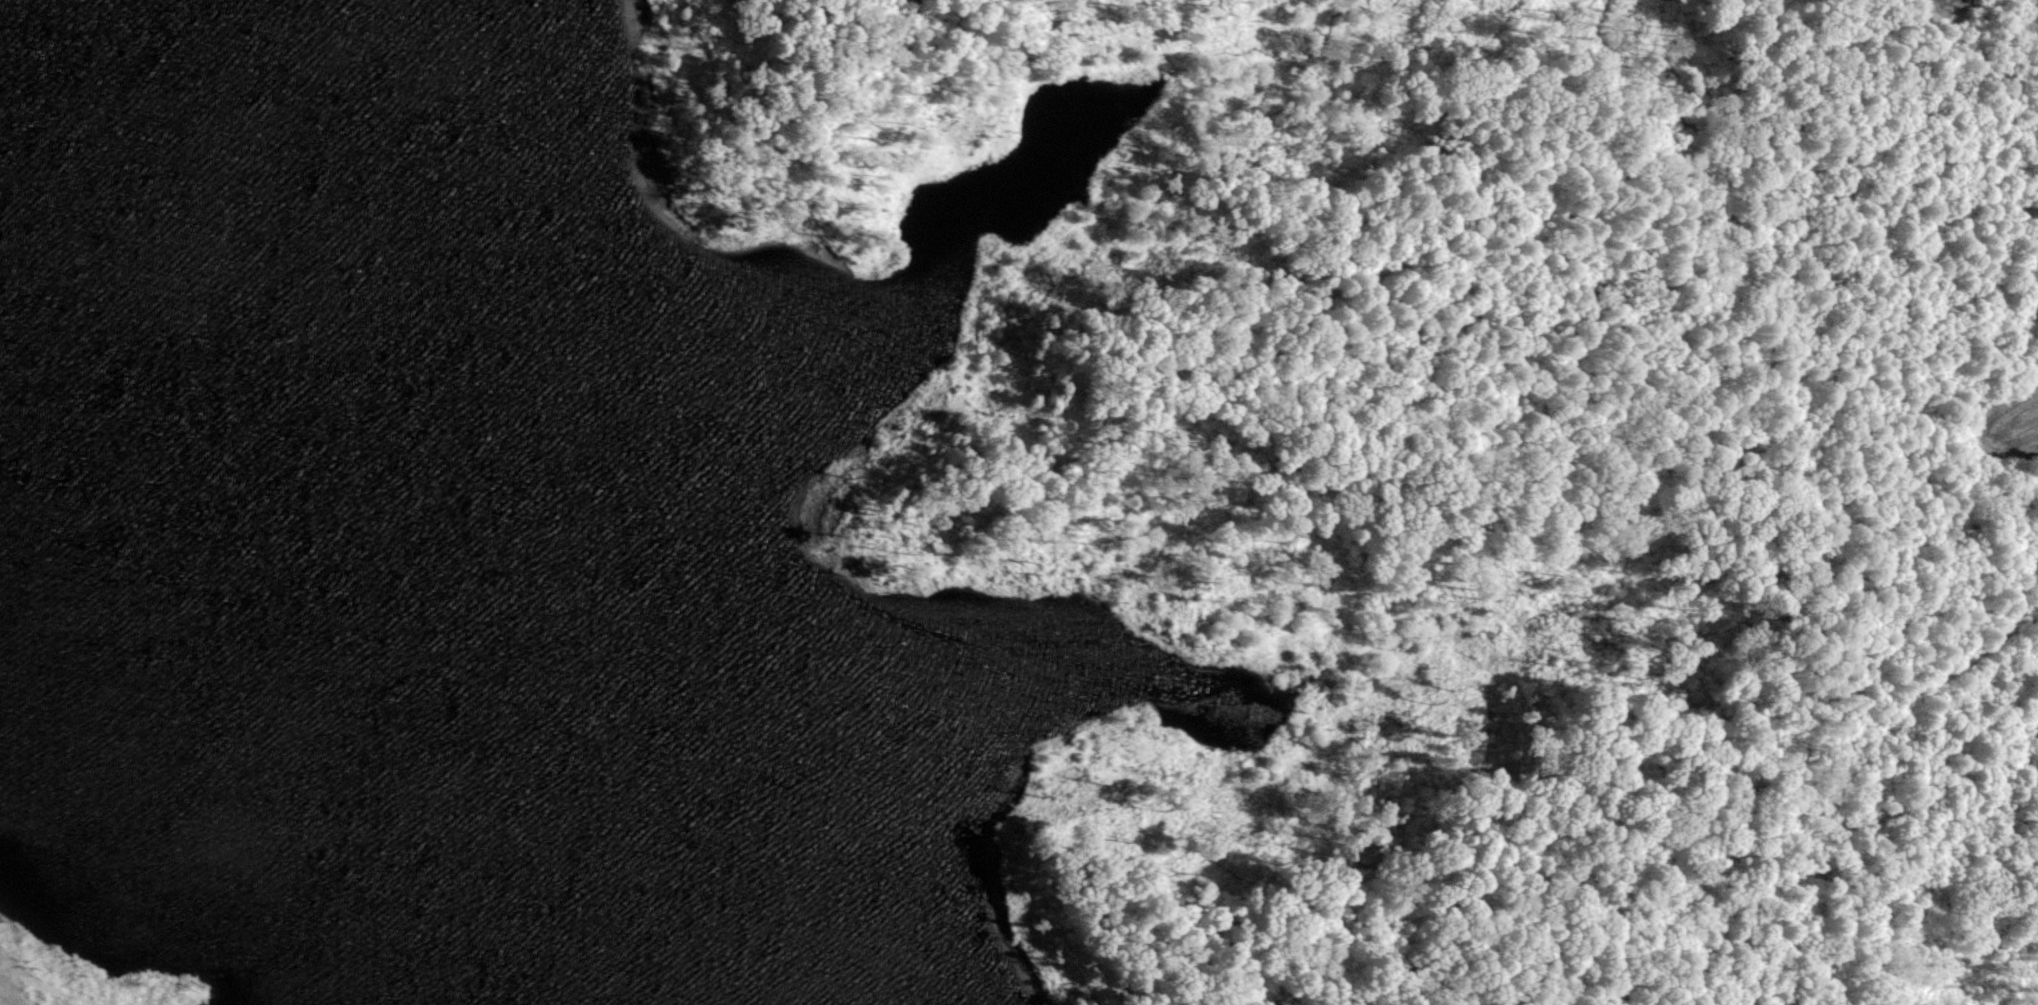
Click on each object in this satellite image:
river: (425, 521)

